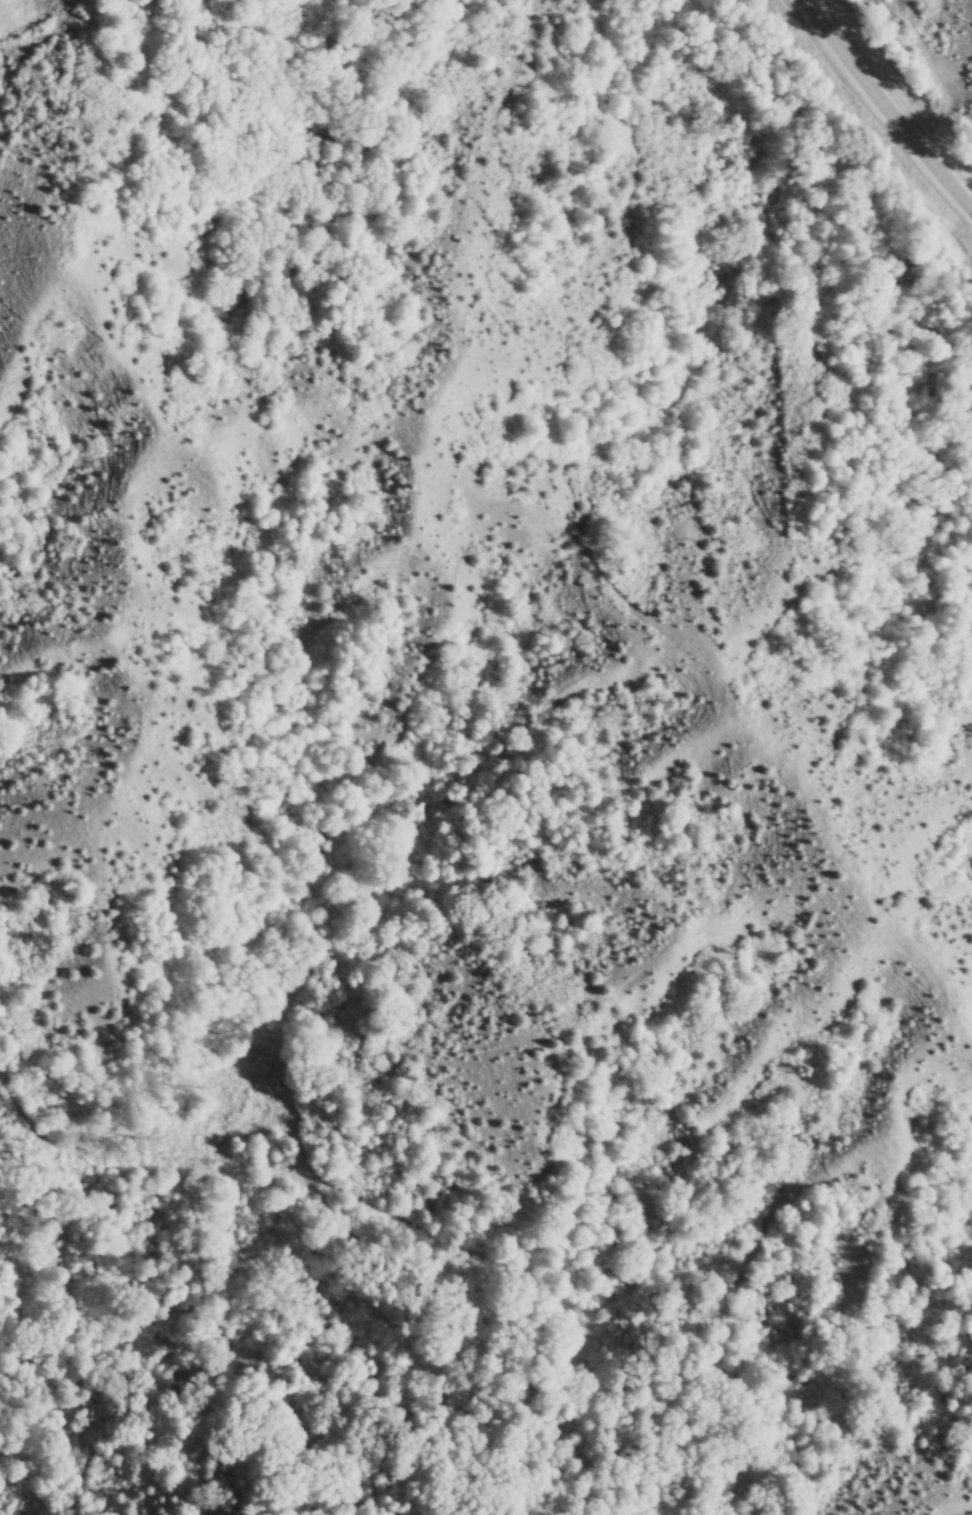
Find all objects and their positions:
road: (878, 110)

